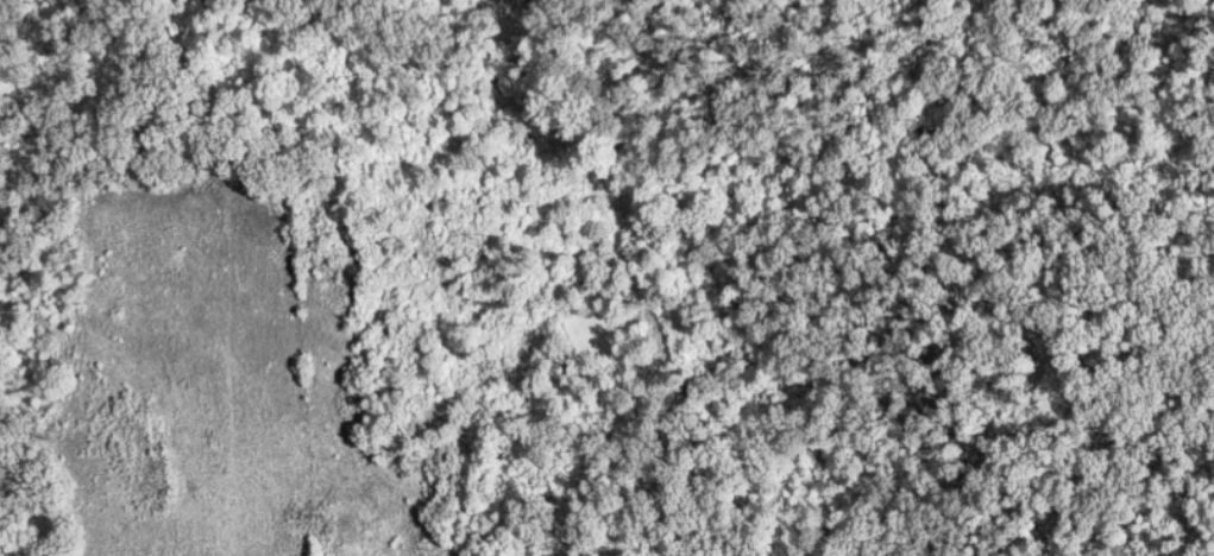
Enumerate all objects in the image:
road: (1077, 277)

